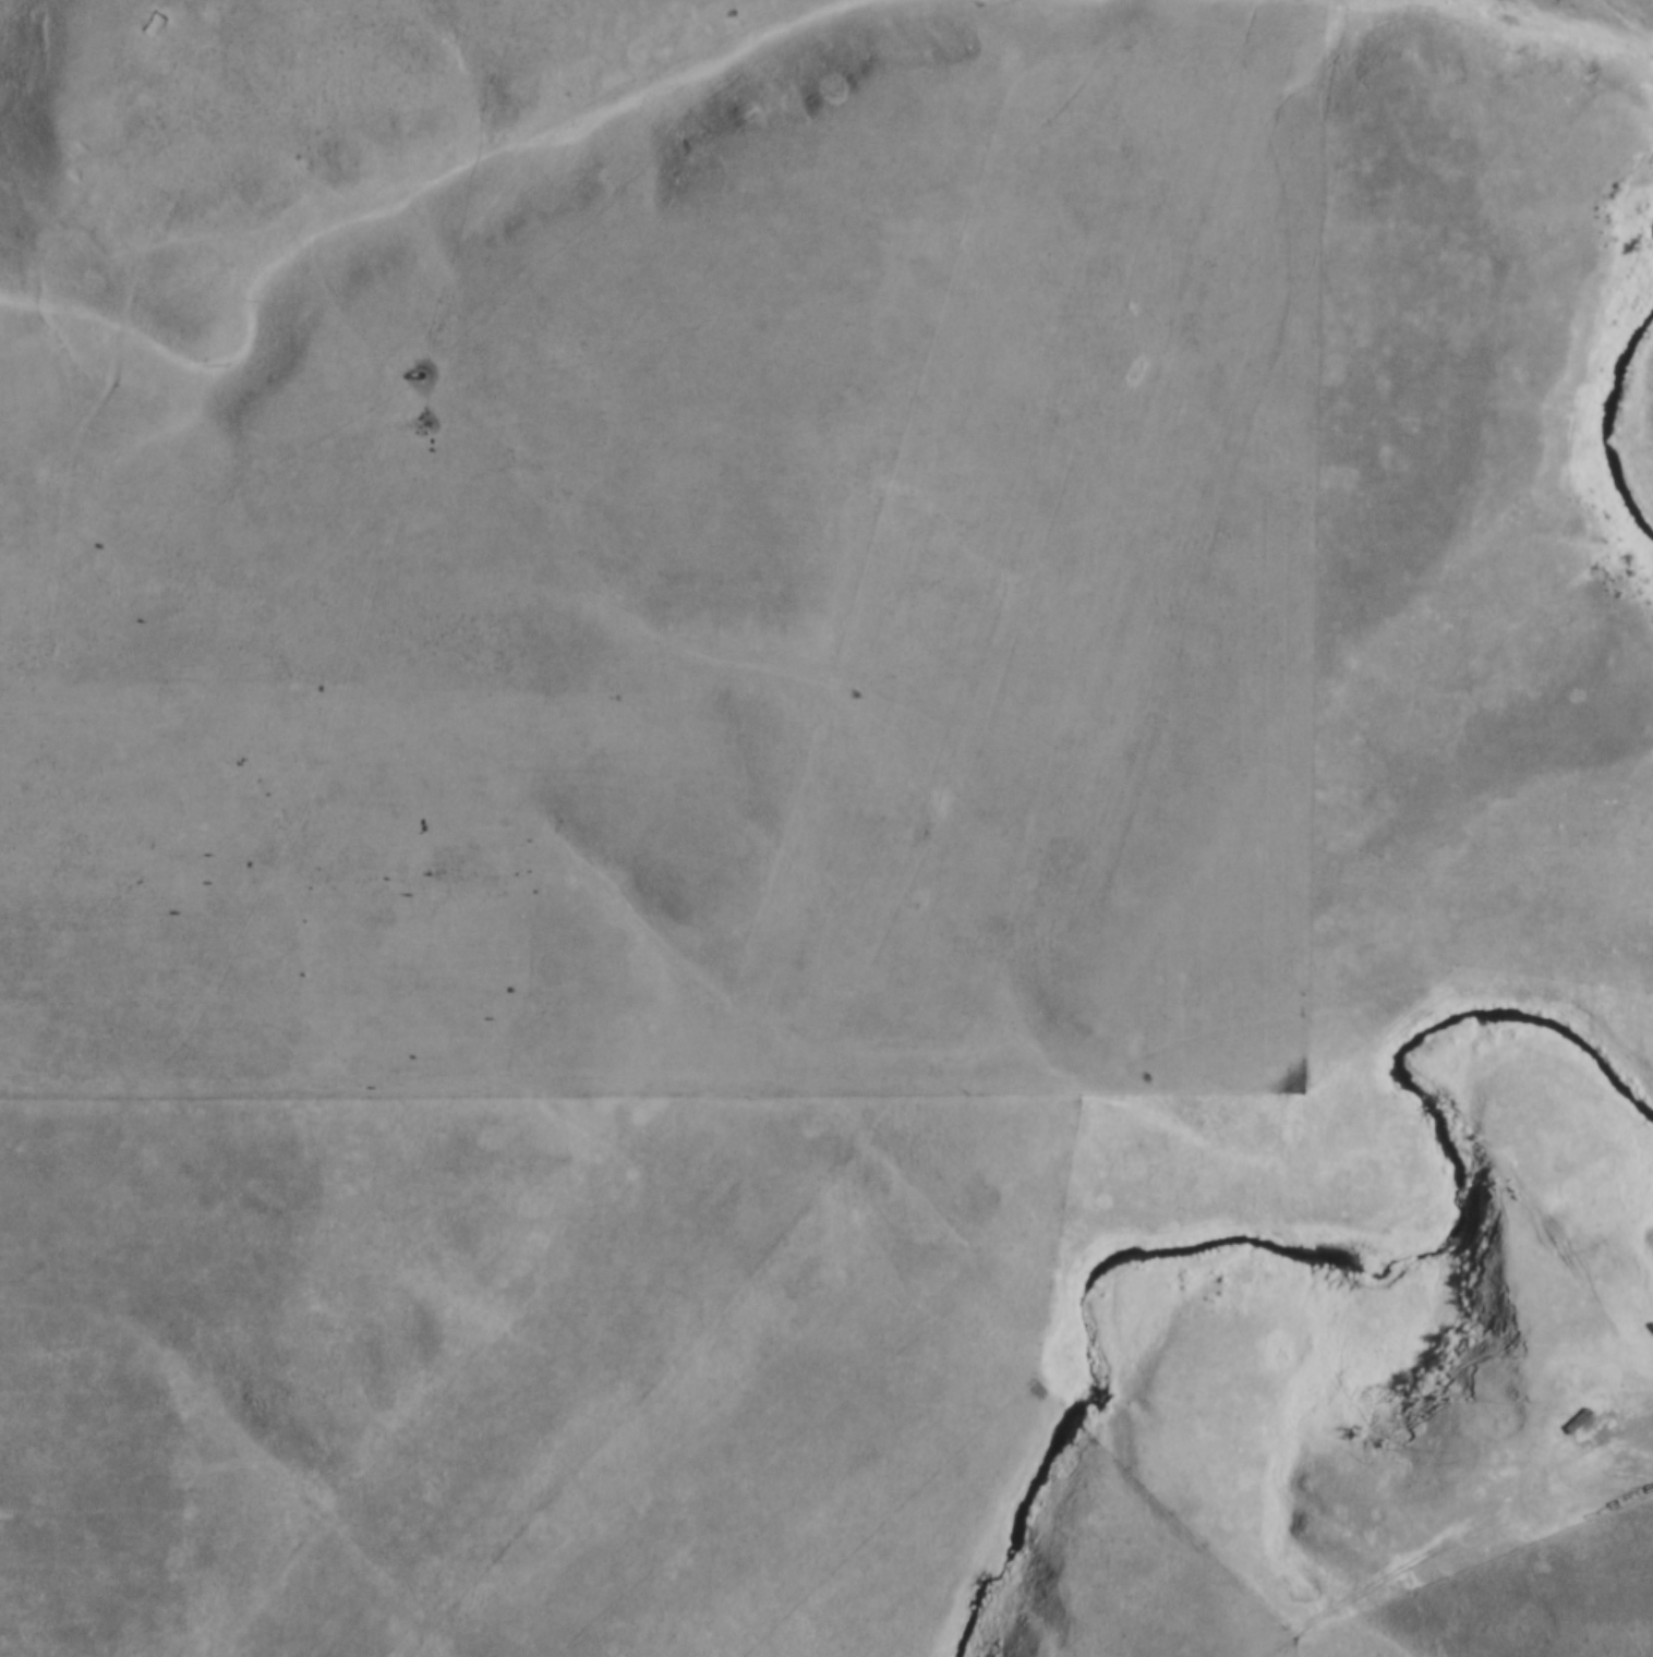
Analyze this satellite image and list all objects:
building: (1615, 1415)

